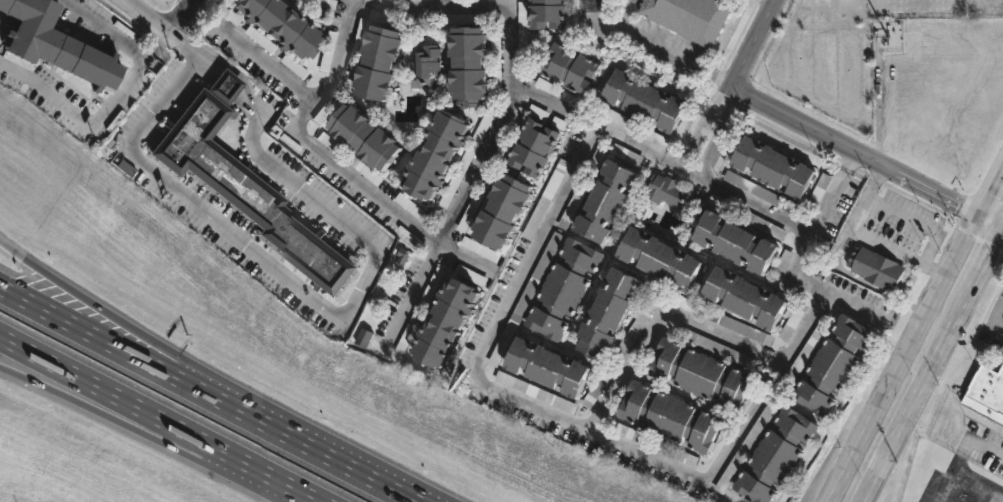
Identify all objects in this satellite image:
road: (773, 1)
road: (446, 3)
road: (150, 11)
building: (553, 14)
road: (593, 14)
building: (691, 17)
road: (187, 18)
road: (106, 25)
building: (286, 26)
road: (162, 34)
road: (755, 43)
building: (53, 44)
road: (345, 45)
road: (666, 49)
building: (388, 64)
road: (267, 66)
building: (434, 67)
building: (478, 67)
building: (576, 72)
building: (228, 85)
road: (734, 88)
building: (555, 90)
building: (646, 100)
road: (89, 121)
building: (635, 127)
building: (374, 139)
building: (540, 149)
road: (855, 153)
building: (441, 156)
building: (355, 163)
road: (852, 164)
building: (775, 167)
road: (689, 172)
building: (666, 191)
building: (253, 192)
road: (989, 192)
traffic signals: (989, 194)
building: (616, 198)
road: (755, 204)
traffic signals: (956, 208)
building: (513, 209)
road: (549, 216)
building: (747, 216)
road: (448, 218)
road: (990, 219)
road: (988, 229)
road: (1001, 234)
road: (870, 237)
building: (728, 240)
road: (1001, 240)
building: (480, 249)
traffic signals: (994, 249)
building: (662, 256)
road: (806, 263)
road: (984, 266)
building: (875, 267)
road: (52, 278)
building: (566, 289)
building: (737, 295)
road: (318, 303)
building: (610, 314)
road: (994, 317)
road: (659, 318)
building: (455, 320)
building: (364, 337)
road: (904, 360)
building: (831, 364)
building: (549, 367)
building: (694, 371)
road: (175, 376)
road: (228, 387)
road: (764, 388)
road: (57, 392)
building: (985, 392)
road: (915, 398)
building: (677, 416)
road: (157, 419)
road: (589, 434)
road: (972, 441)
building: (679, 455)
building: (777, 456)
road: (203, 463)
road: (963, 474)
road: (387, 483)

